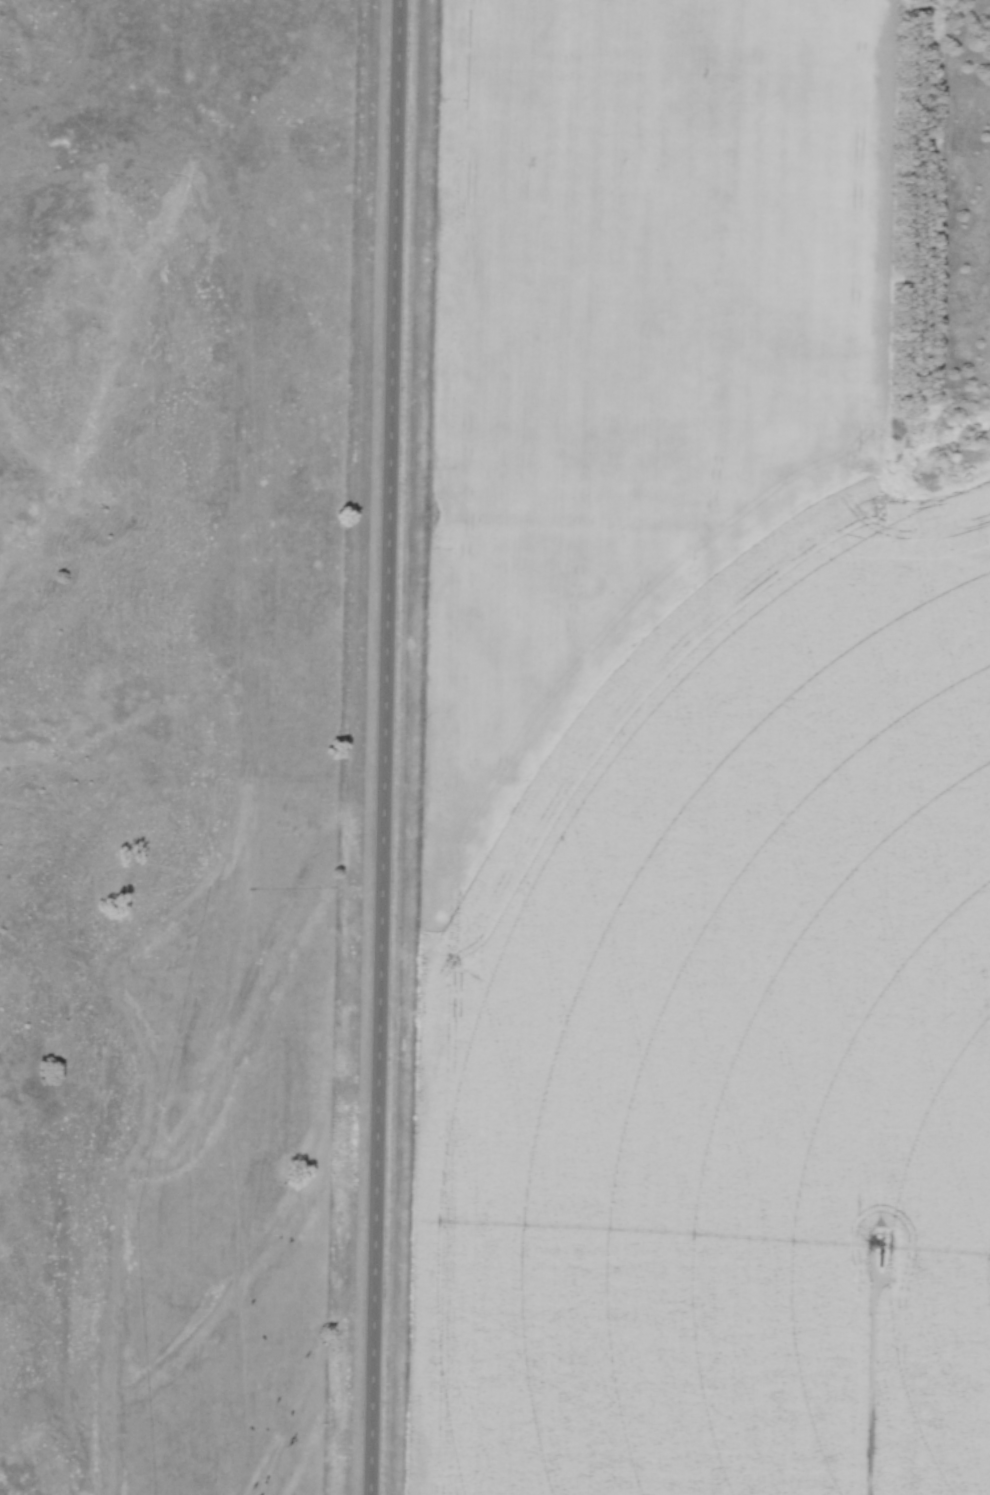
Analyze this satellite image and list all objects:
crop: (635, 341)
road: (390, 747)
crop: (735, 1045)

